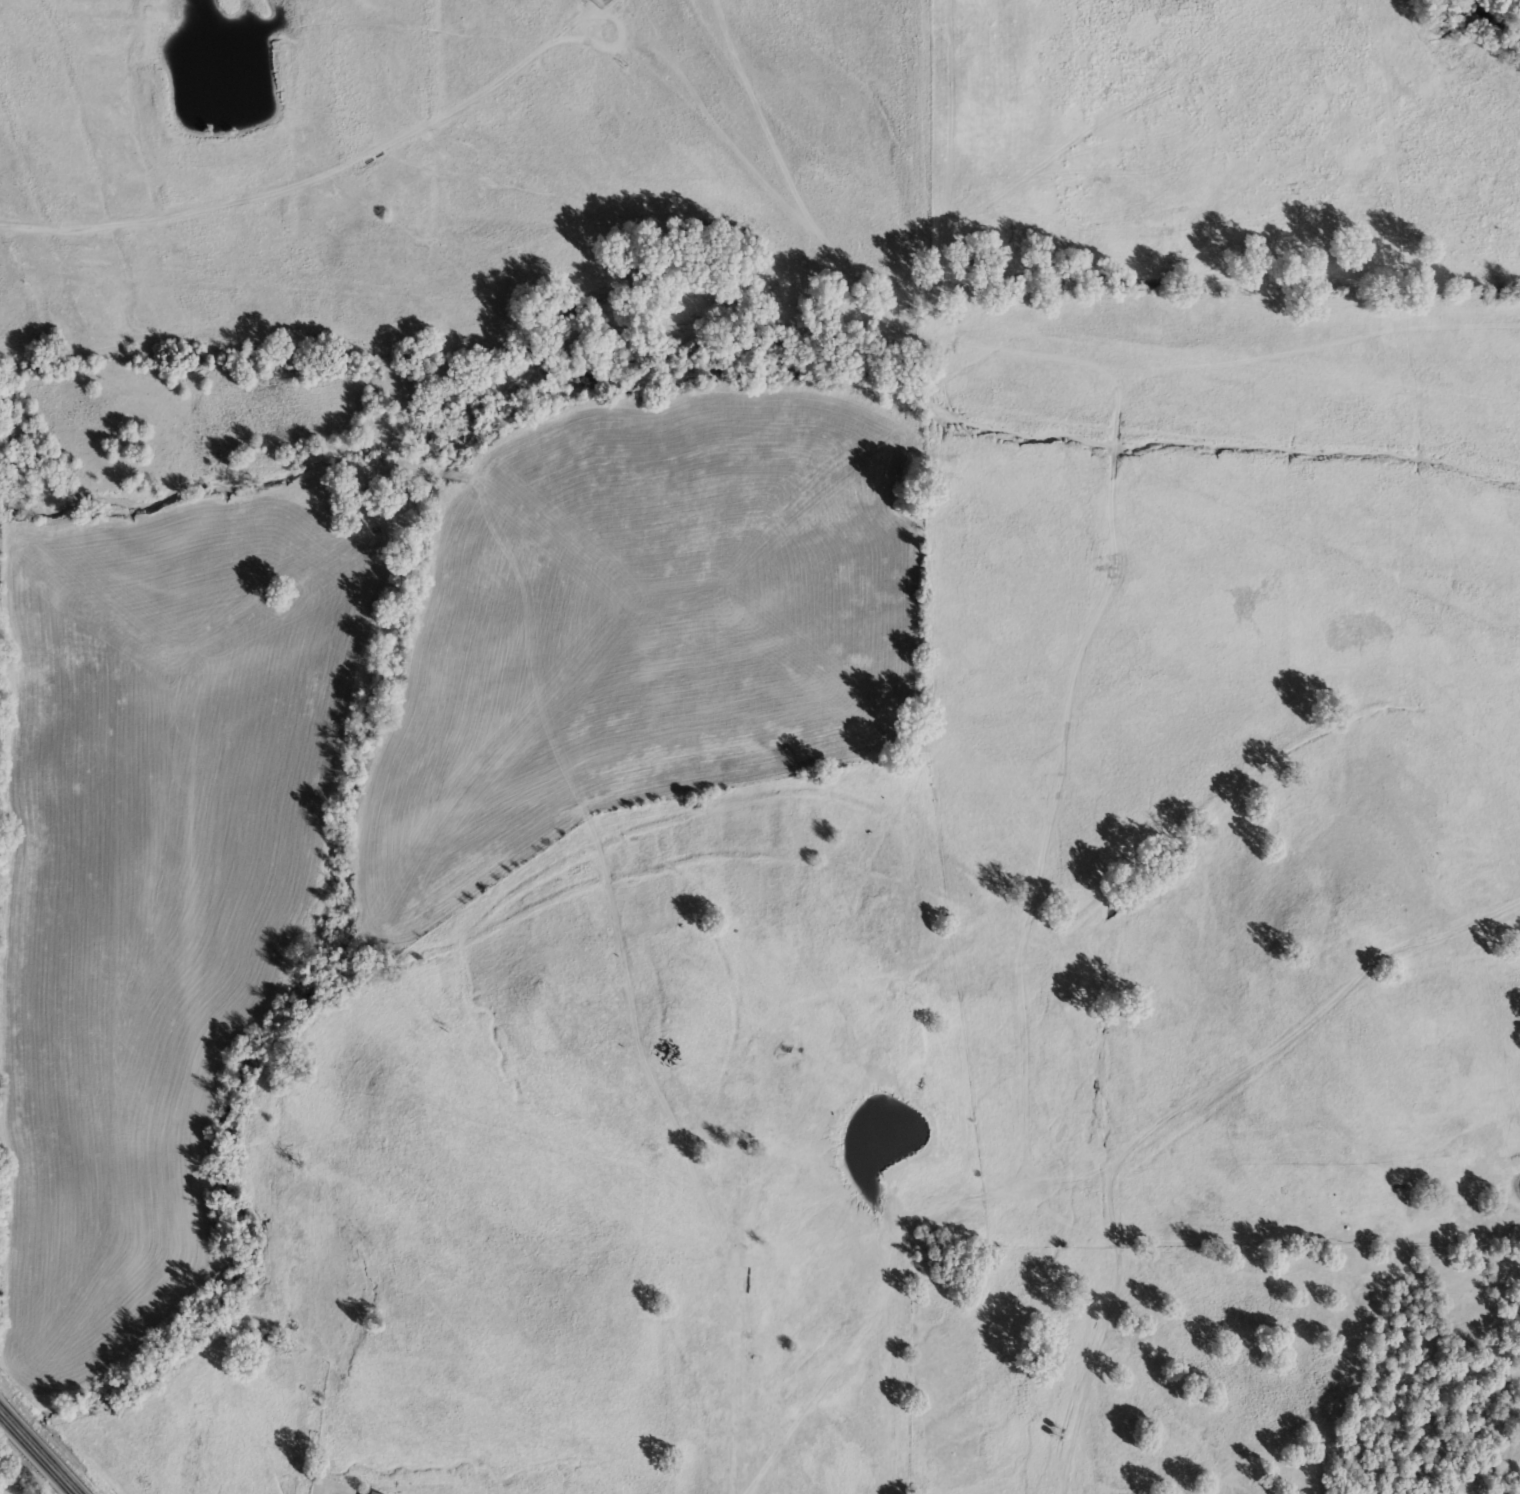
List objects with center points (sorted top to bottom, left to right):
building: (264, 1336)
road: (40, 1448)
building: (373, 1492)

